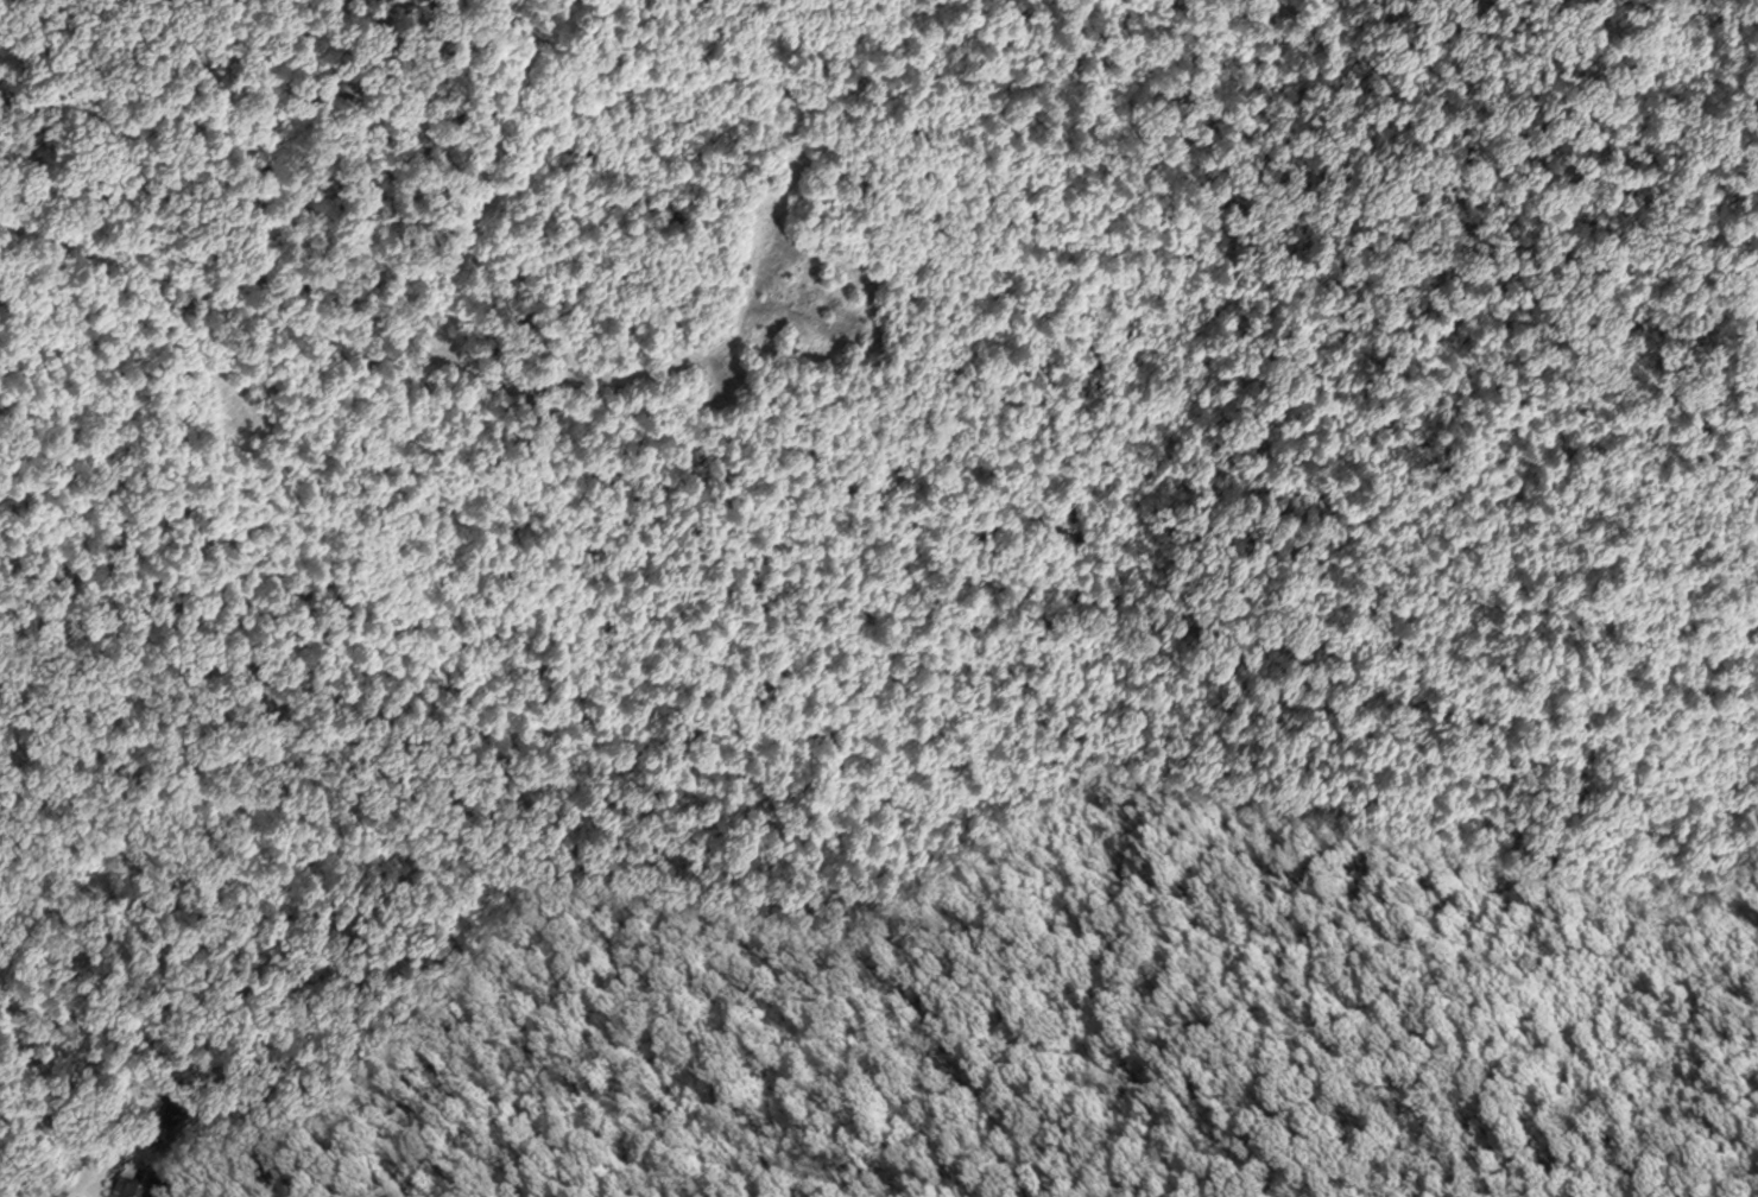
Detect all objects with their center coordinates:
road: (20, 2)
road: (1602, 813)
road: (105, 1058)
building: (138, 1184)

